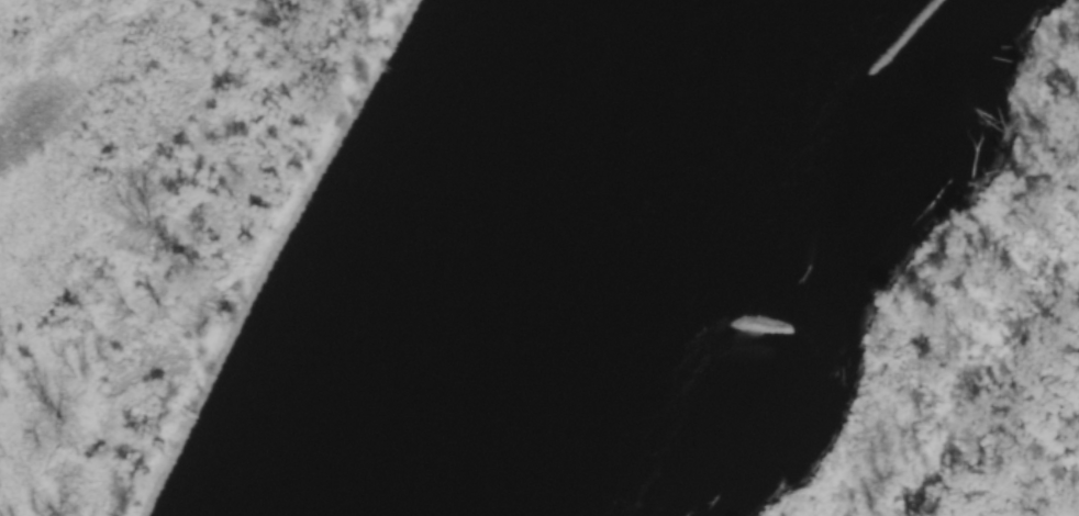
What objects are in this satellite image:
river: (636, 258)

